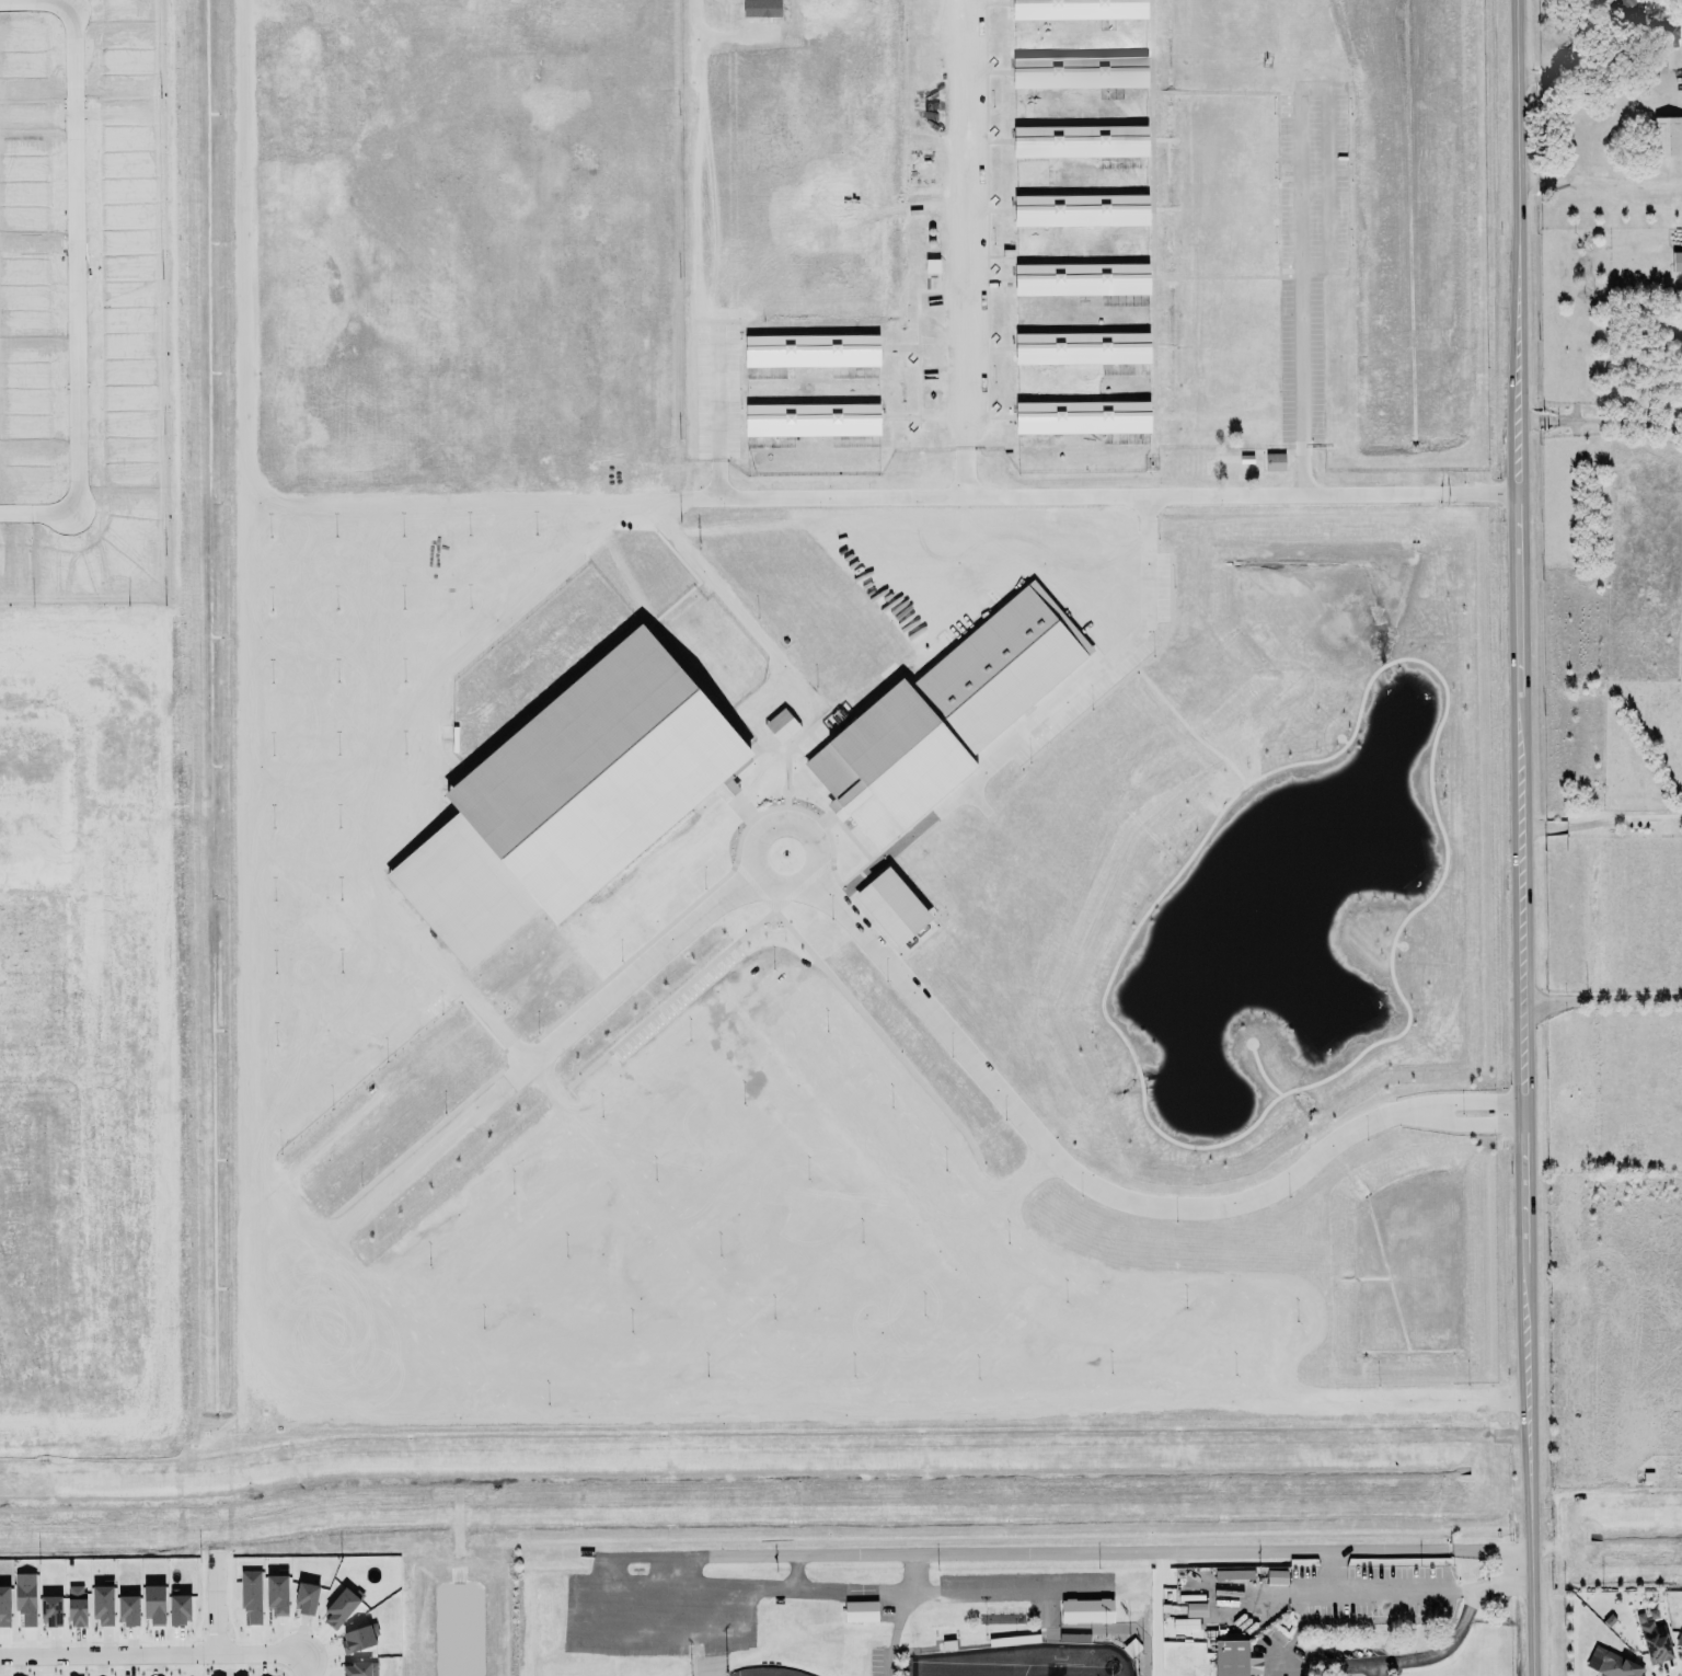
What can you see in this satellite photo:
road: (30, 1)
building: (762, 8)
building: (1076, 10)
road: (706, 30)
building: (1078, 73)
road: (1601, 79)
building: (1667, 137)
building: (1078, 142)
road: (1293, 176)
road: (1600, 180)
road: (963, 210)
building: (1079, 211)
road: (71, 254)
building: (1677, 262)
building: (1080, 280)
building: (1080, 349)
building: (811, 351)
road: (694, 397)
building: (1082, 417)
building: (811, 420)
road: (1601, 420)
building: (1274, 463)
building: (1230, 468)
road: (1214, 495)
road: (34, 513)
road: (716, 588)
road: (1129, 640)
building: (945, 716)
building: (782, 725)
road: (387, 737)
building: (726, 789)
building: (568, 800)
road: (1600, 822)
road: (1518, 838)
road: (37, 891)
road: (74, 903)
building: (892, 907)
road: (241, 969)
road: (1600, 1002)
road: (1090, 1191)
road: (81, 1250)
road: (1606, 1540)
road: (1061, 1551)
road: (682, 1568)
building: (1233, 1574)
building: (1277, 1577)
road: (704, 1580)
road: (817, 1587)
road: (892, 1591)
road: (1000, 1591)
road: (1384, 1591)
building: (278, 1594)
building: (251, 1596)
building: (26, 1598)
building: (307, 1599)
building: (100, 1602)
road: (210, 1604)
building: (4, 1606)
building: (77, 1606)
building: (154, 1606)
building: (125, 1607)
building: (341, 1608)
building: (180, 1610)
building: (1196, 1610)
building: (51, 1611)
building: (861, 1611)
building: (1087, 1611)
road: (901, 1615)
building: (1186, 1623)
road: (637, 1628)
building: (1679, 1637)
building: (1654, 1639)
road: (148, 1656)
road: (1420, 1656)
building: (1229, 1657)
building: (1612, 1664)
building: (359, 1669)
road: (1373, 1671)
road: (292, 1672)

